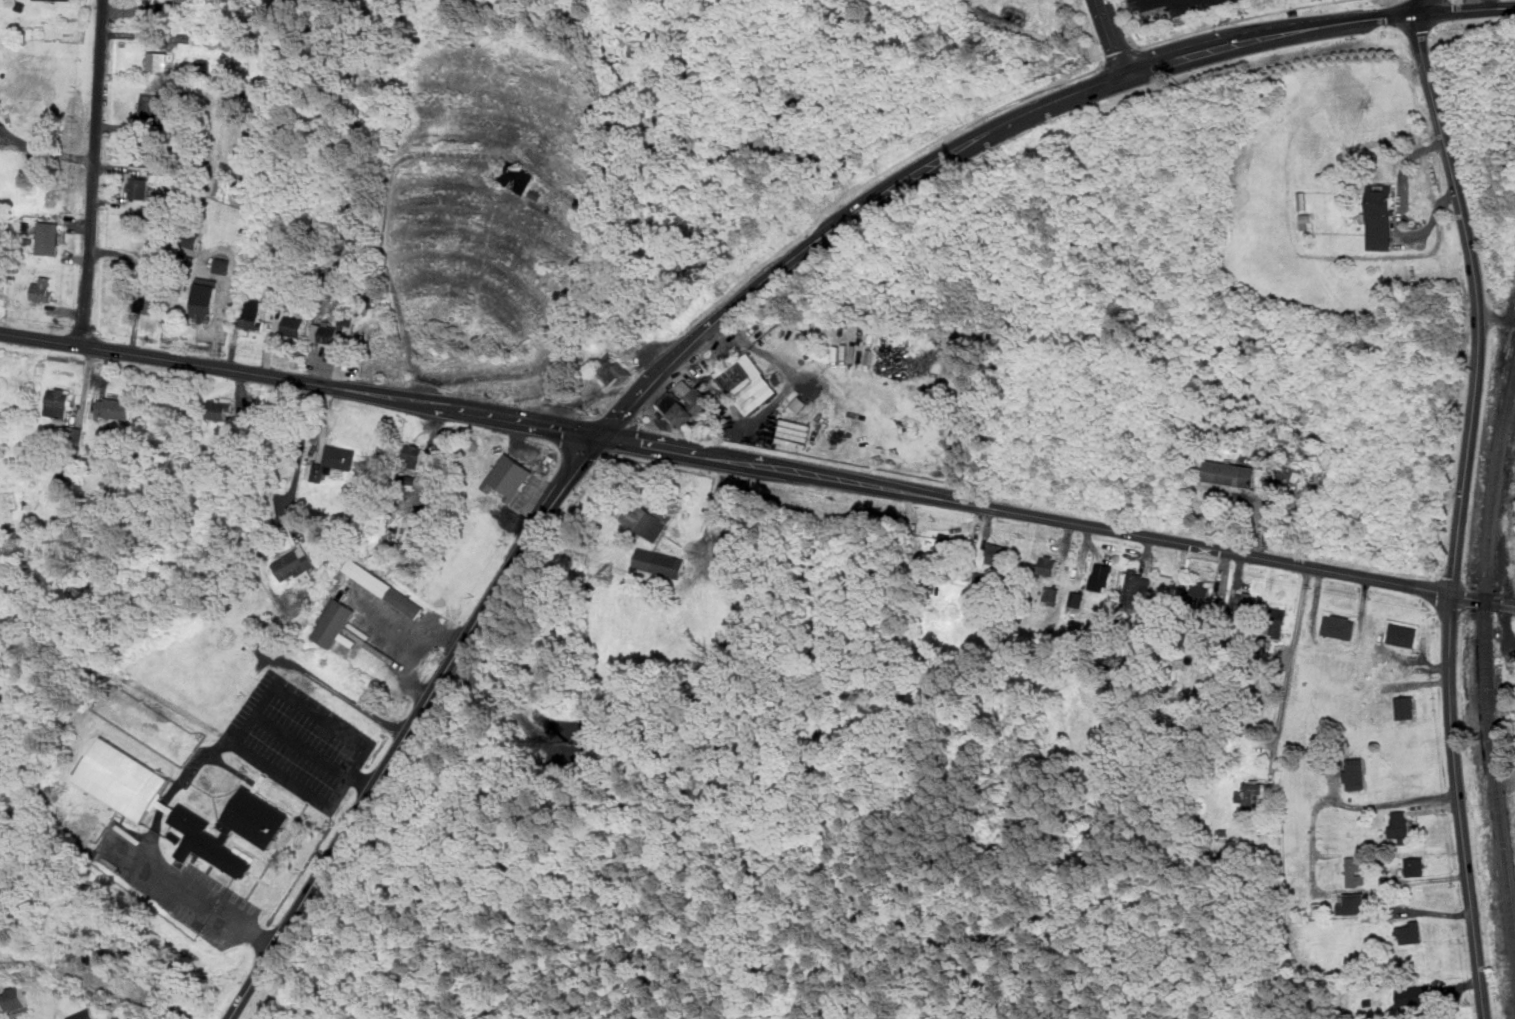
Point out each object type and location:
building: (70, 0)
road: (1476, 4)
road: (1420, 7)
road: (1465, 9)
road: (143, 12)
road: (1220, 24)
road: (1270, 35)
road: (1117, 37)
road: (1143, 48)
road: (1125, 58)
building: (157, 61)
building: (205, 65)
road: (1016, 102)
road: (1049, 107)
building: (149, 108)
road: (43, 152)
building: (139, 154)
road: (95, 173)
building: (516, 177)
building: (139, 187)
road: (1399, 214)
building: (1380, 216)
road: (841, 221)
building: (49, 237)
building: (193, 240)
building: (223, 265)
building: (0, 278)
building: (44, 288)
building: (150, 299)
building: (205, 300)
building: (252, 314)
road: (712, 325)
building: (293, 326)
building: (327, 333)
building: (613, 369)
road: (225, 370)
road: (650, 382)
building: (0, 383)
building: (747, 383)
building: (59, 402)
building: (685, 403)
building: (114, 408)
building: (220, 409)
road: (526, 421)
building: (70, 433)
traffic signals: (601, 434)
road: (693, 452)
building: (413, 455)
road: (298, 458)
building: (332, 462)
building: (1230, 473)
building: (510, 475)
building: (399, 478)
road: (1462, 513)
building: (648, 519)
road: (1150, 537)
building: (997, 555)
building: (659, 562)
building: (296, 565)
building: (1046, 566)
building: (1102, 578)
building: (1166, 586)
building: (384, 588)
building: (1134, 591)
building: (1200, 593)
building: (1052, 595)
building: (1077, 599)
building: (1246, 604)
building: (333, 622)
building: (1277, 623)
building: (1339, 627)
building: (1403, 634)
road: (401, 643)
road: (1336, 645)
railway: (1487, 647)
road: (1290, 669)
building: (1406, 706)
road: (253, 717)
road: (413, 725)
road: (315, 751)
building: (1356, 773)
building: (124, 779)
building: (1251, 793)
road: (1391, 804)
building: (1400, 824)
building: (231, 830)
building: (1415, 865)
building: (1356, 870)
road: (171, 879)
building: (1353, 903)
building: (1319, 909)
road: (1424, 911)
road: (244, 924)
building: (1409, 931)
building: (1414, 994)
building: (17, 999)
building: (85, 1014)

